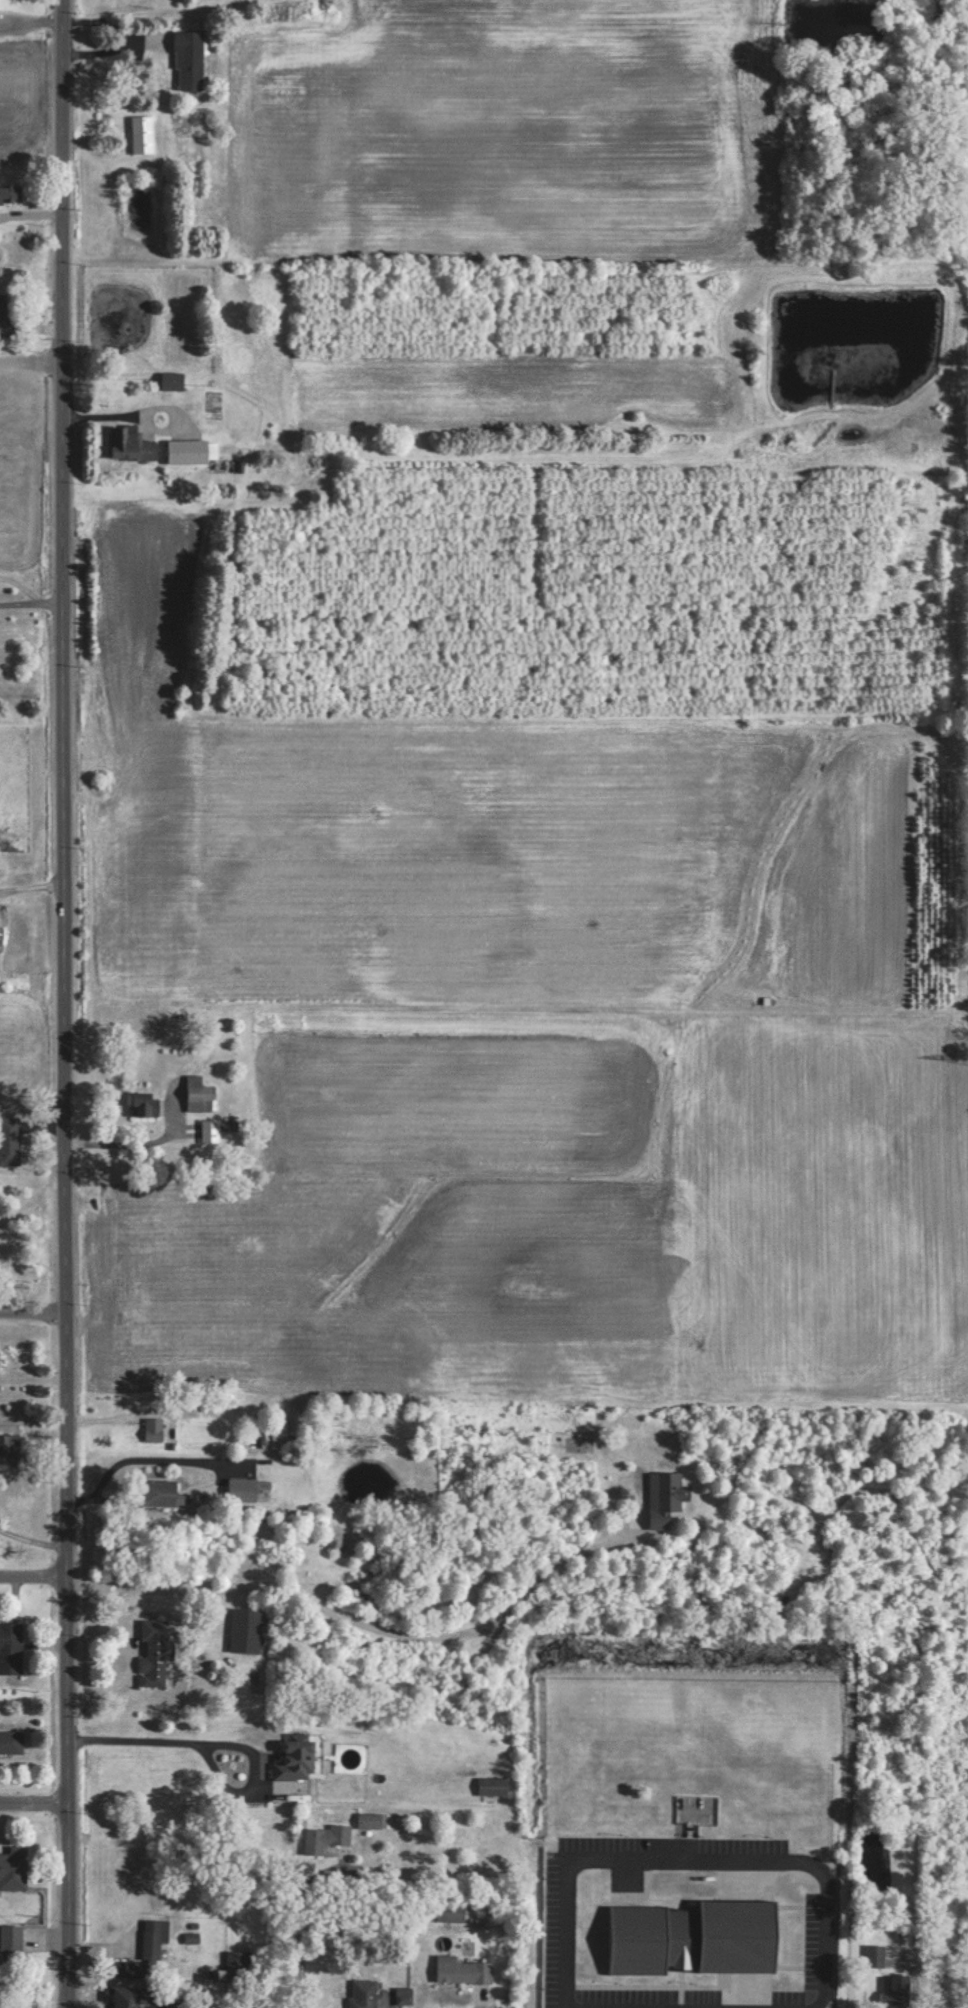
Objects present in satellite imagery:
building: (190, 60)
building: (144, 134)
building: (11, 194)
building: (7, 319)
road: (32, 357)
building: (174, 381)
building: (132, 444)
building: (194, 451)
road: (33, 601)
building: (2, 938)
road: (67, 1004)
building: (201, 1094)
building: (144, 1103)
building: (212, 1130)
building: (10, 1140)
road: (141, 1141)
road: (34, 1308)
building: (154, 1428)
building: (10, 1448)
road: (145, 1457)
building: (243, 1489)
building: (161, 1492)
building: (664, 1499)
road: (33, 1537)
road: (34, 1571)
road: (362, 1624)
building: (11, 1647)
building: (155, 1651)
road: (221, 1741)
building: (12, 1742)
building: (302, 1757)
building: (494, 1786)
road: (35, 1798)
building: (375, 1820)
building: (327, 1838)
road: (692, 1856)
building: (14, 1868)
building: (454, 1913)
road: (299, 1927)
building: (695, 1938)
building: (12, 1939)
building: (156, 1939)
building: (877, 1956)
building: (240, 1965)
building: (132, 1968)
building: (464, 1971)
building: (899, 1990)
building: (366, 1993)
building: (135, 1996)

